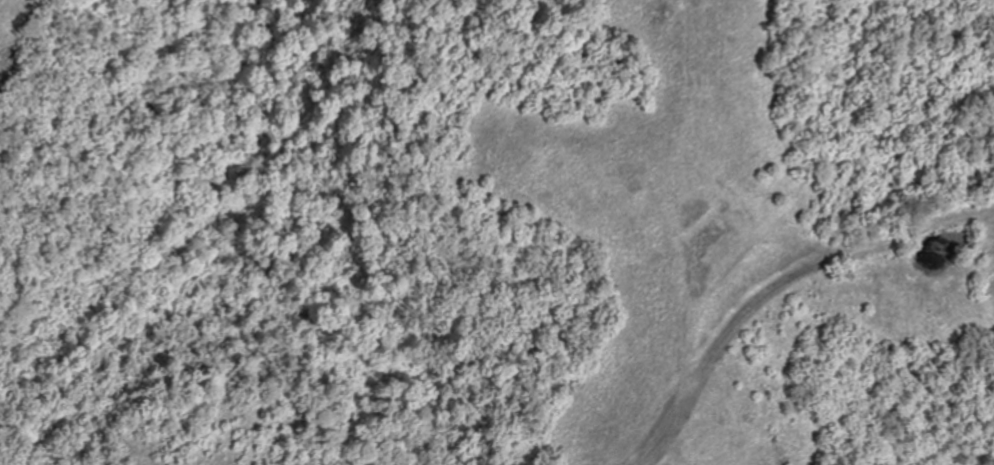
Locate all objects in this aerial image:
road: (778, 287)

